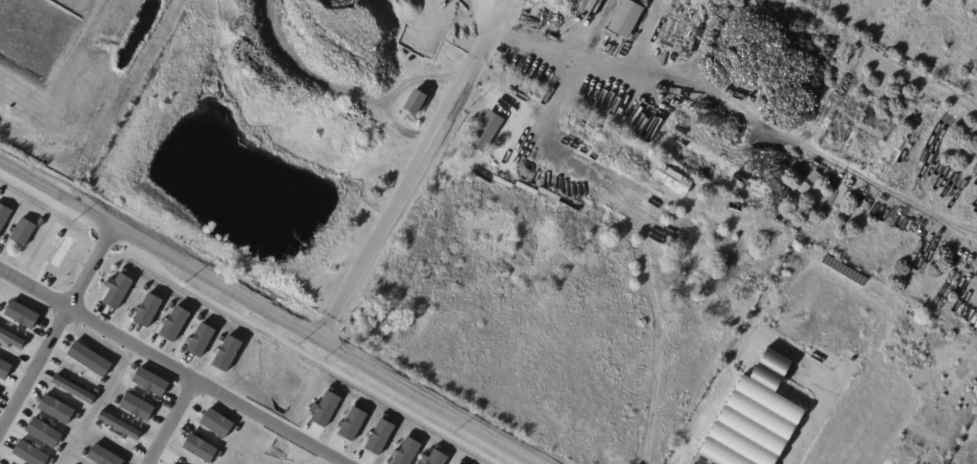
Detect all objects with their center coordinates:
building: (624, 19)
road: (585, 23)
road: (632, 56)
building: (426, 76)
building: (414, 101)
building: (485, 131)
road: (425, 154)
building: (685, 185)
building: (1, 192)
building: (4, 218)
building: (42, 223)
building: (24, 232)
building: (65, 255)
building: (695, 261)
building: (114, 291)
road: (269, 313)
building: (150, 316)
building: (25, 318)
road: (246, 322)
road: (56, 329)
building: (178, 329)
building: (14, 340)
building: (204, 345)
building: (231, 356)
building: (91, 362)
road: (171, 367)
building: (6, 371)
building: (153, 385)
road: (832, 385)
building: (76, 390)
building: (324, 408)
building: (139, 410)
building: (60, 412)
building: (754, 418)
road: (169, 422)
building: (216, 423)
building: (351, 423)
building: (121, 428)
building: (49, 436)
building: (379, 436)
building: (203, 451)
building: (405, 451)
building: (29, 454)
building: (105, 456)
building: (434, 457)

